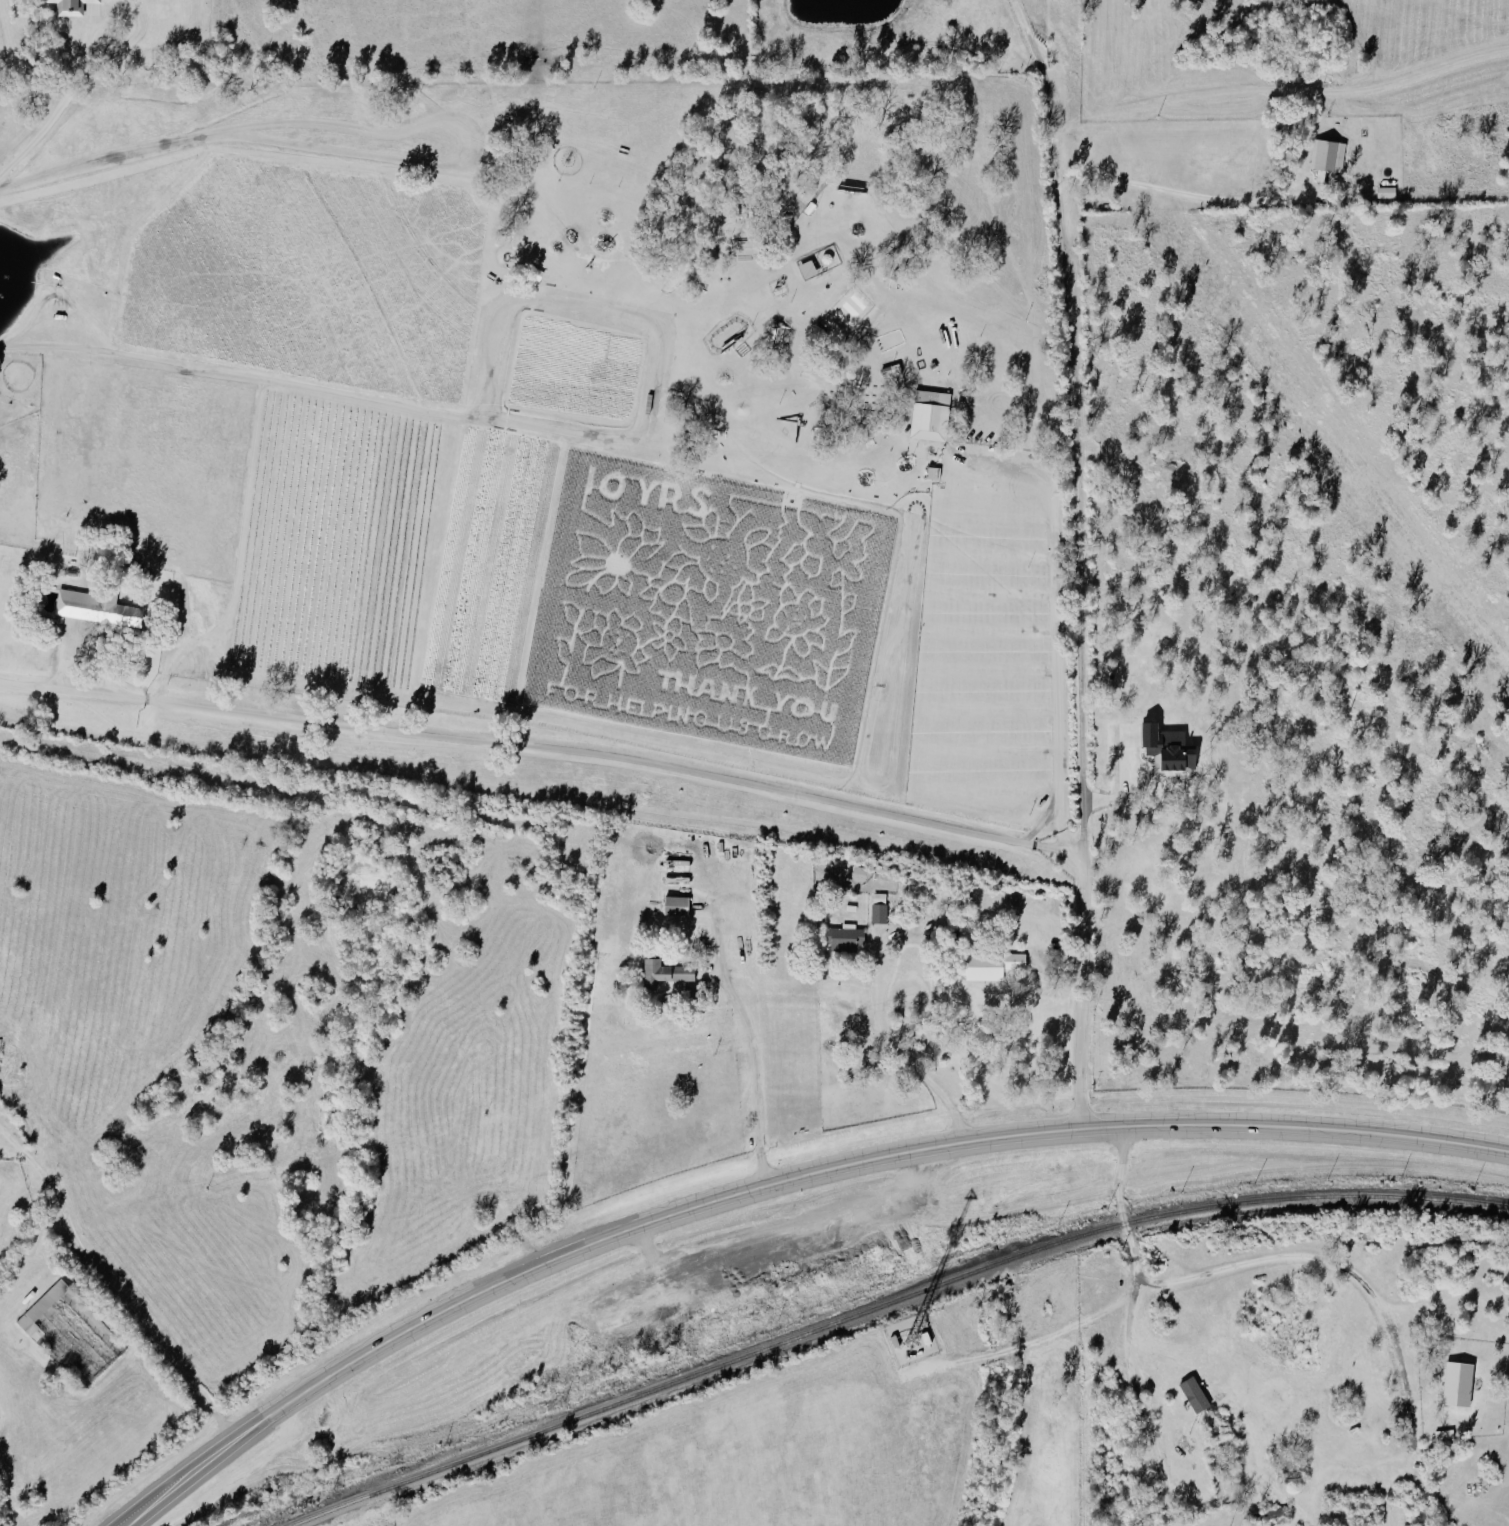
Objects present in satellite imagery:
building: (72, 6)
building: (93, 8)
road: (1042, 67)
building: (1330, 154)
road: (1187, 198)
building: (809, 268)
building: (931, 414)
road: (1014, 473)
building: (99, 607)
road: (1085, 634)
road: (1063, 679)
building: (1171, 750)
road: (548, 752)
road: (1045, 826)
building: (678, 905)
building: (880, 913)
building: (847, 937)
building: (993, 965)
building: (668, 972)
road: (900, 1052)
road: (758, 1075)
road: (773, 1184)
road: (1307, 1259)
road: (123, 1297)
railway: (888, 1305)
building: (42, 1309)
road: (1127, 1331)
building: (1460, 1384)
building: (1197, 1394)

